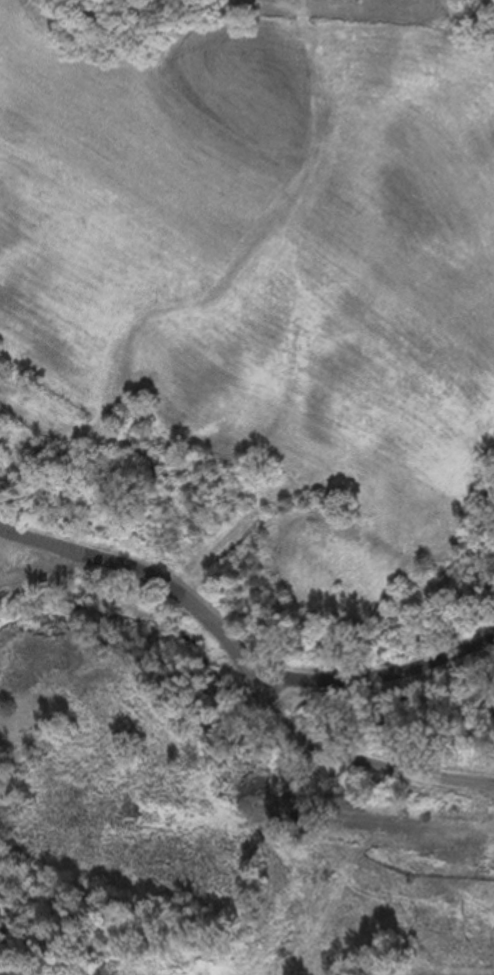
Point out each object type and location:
ski resort: (245, 492)
road: (39, 567)
road: (146, 573)
road: (377, 680)
road: (357, 757)

